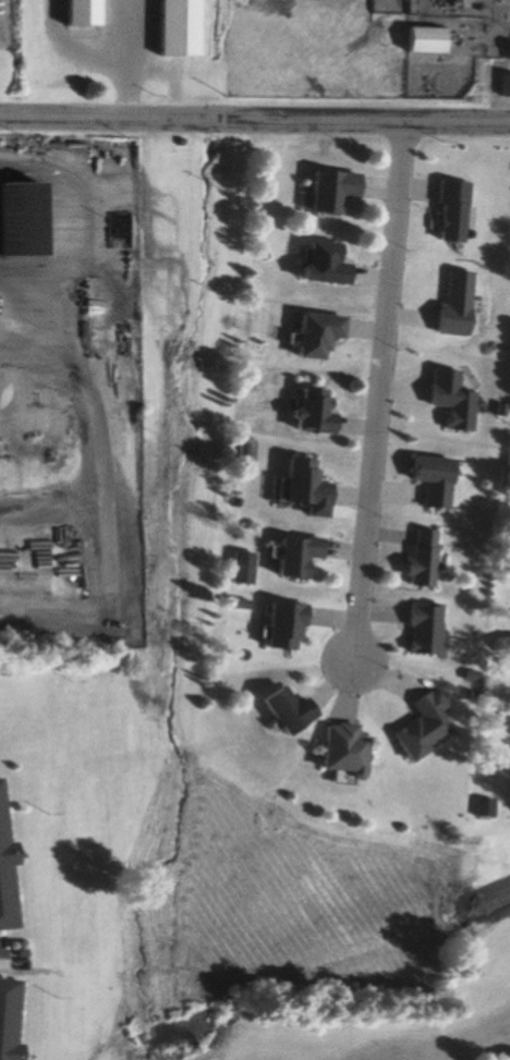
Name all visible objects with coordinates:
building: (73, 12)
building: (171, 27)
building: (445, 62)
road: (254, 118)
building: (326, 190)
building: (449, 210)
building: (19, 224)
building: (316, 263)
road: (35, 316)
building: (311, 333)
road: (378, 390)
building: (307, 411)
building: (428, 479)
building: (296, 484)
building: (290, 556)
building: (415, 559)
building: (236, 569)
building: (276, 628)
building: (416, 631)
building: (278, 711)
building: (415, 727)
building: (333, 752)
building: (483, 808)
building: (3, 864)
building: (5, 1016)

